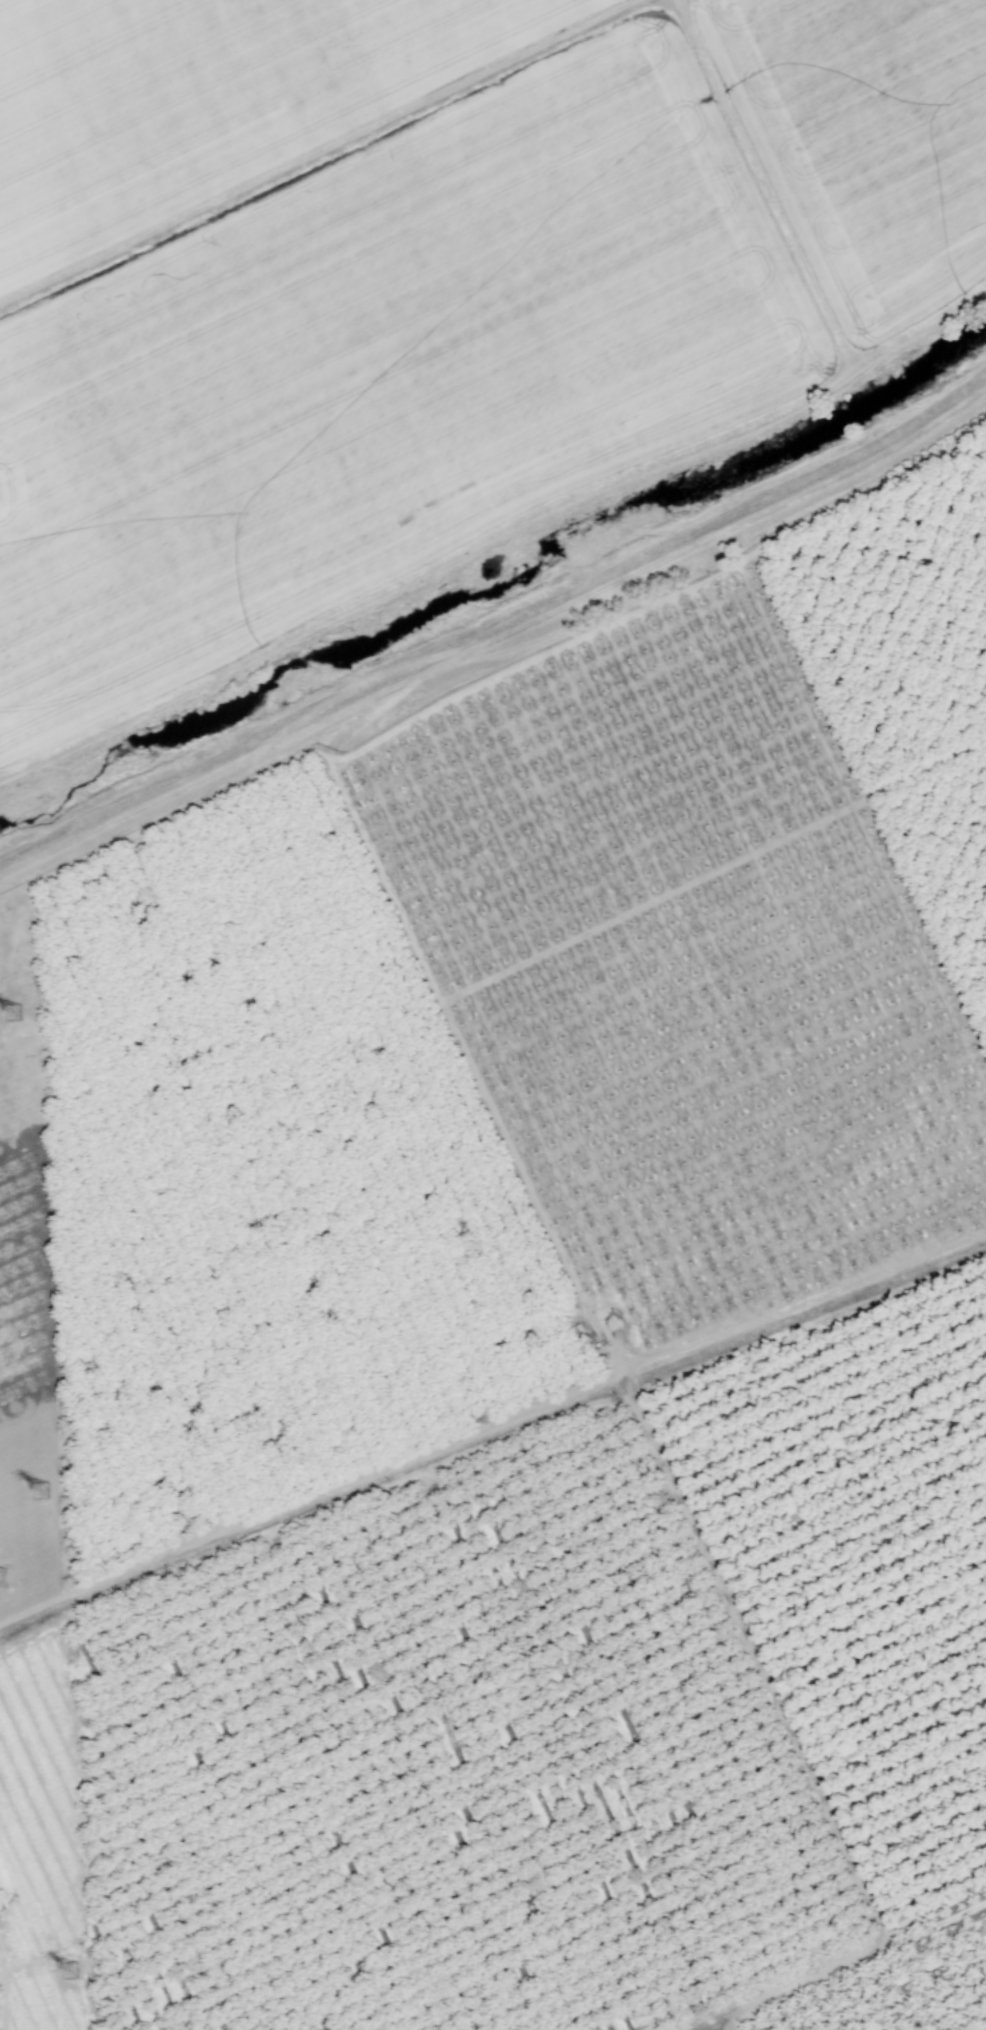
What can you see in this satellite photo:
power tower: (14, 1014)
power tower: (45, 1493)
power tower: (0, 1581)
power tower: (74, 1973)

